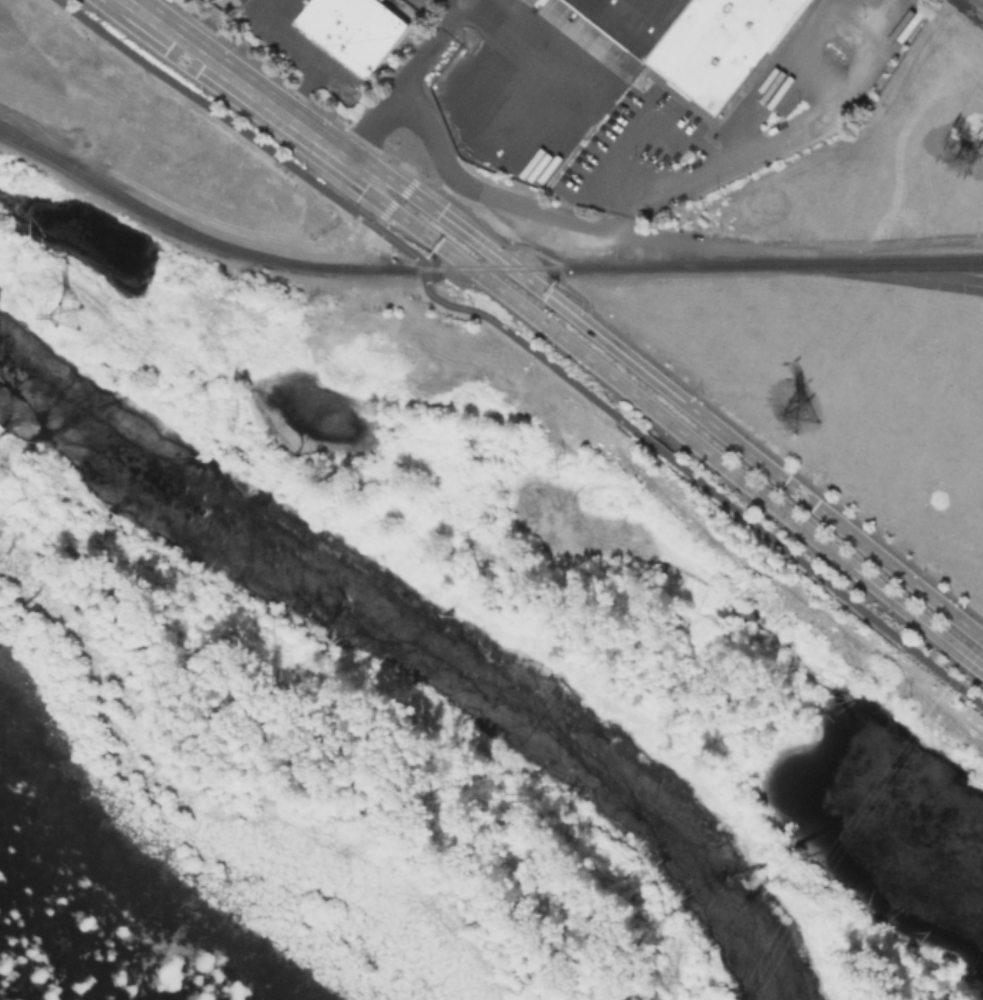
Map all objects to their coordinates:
building: (356, 30)
building: (696, 39)
road: (525, 50)
road: (304, 55)
road: (401, 78)
road: (243, 87)
road: (758, 140)
railway: (36, 148)
power tower: (963, 157)
road: (482, 192)
road: (389, 206)
railway: (476, 270)
power tower: (67, 315)
road: (521, 343)
road: (679, 397)
power tower: (800, 414)
road: (670, 425)

